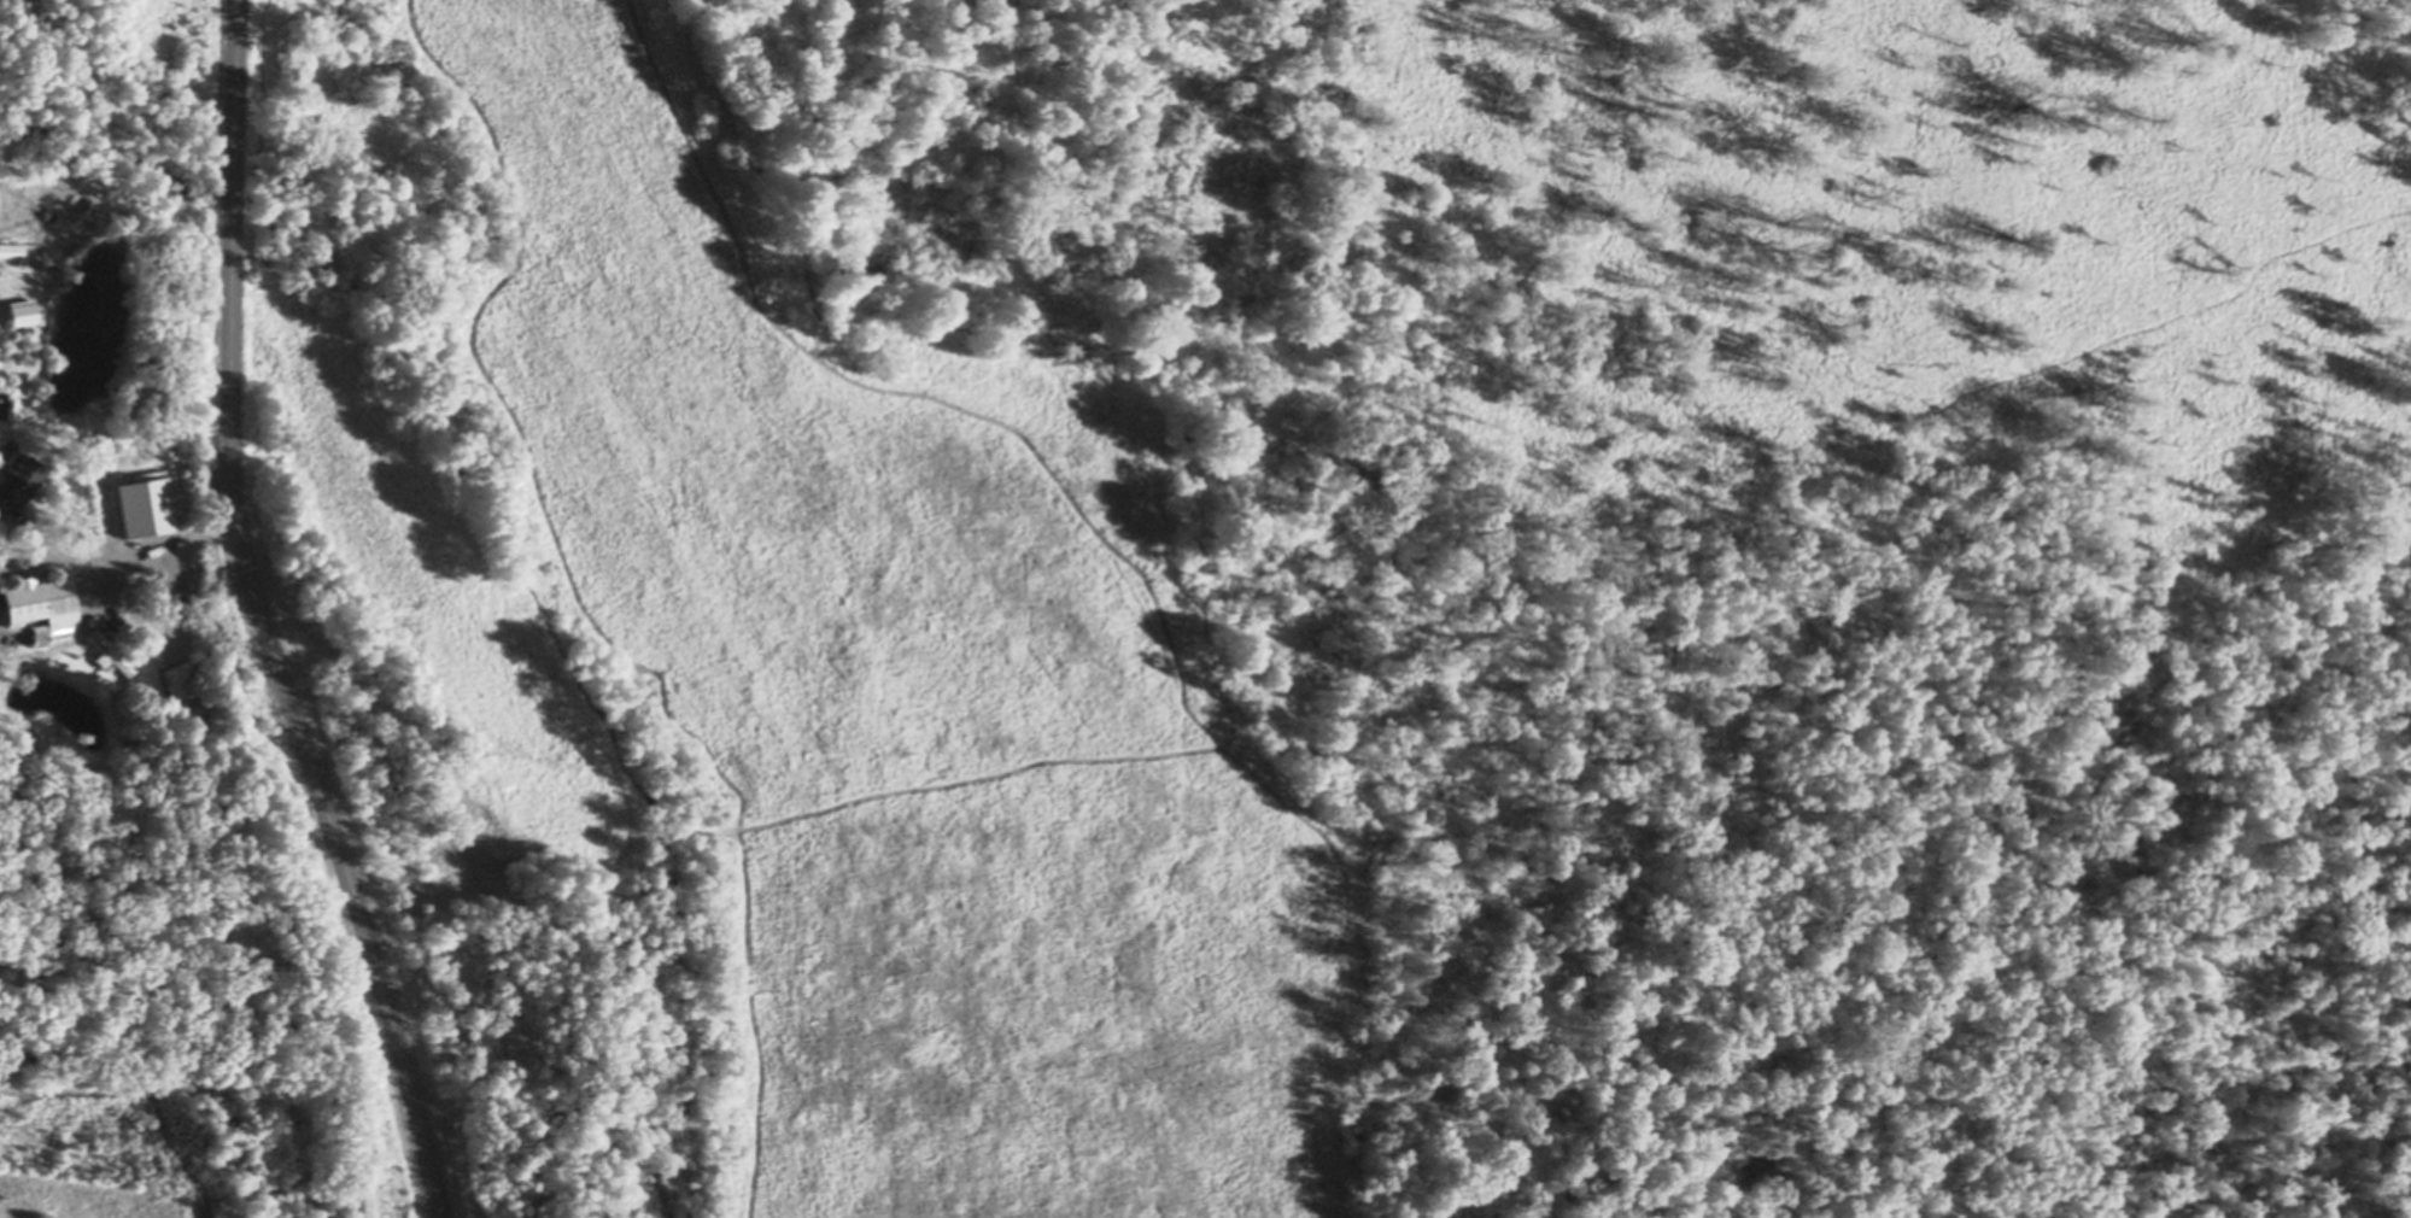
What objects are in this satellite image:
building: (12, 252)
building: (22, 314)
building: (8, 457)
building: (19, 487)
road: (129, 558)
building: (43, 607)
road: (264, 620)
building: (111, 657)
building: (185, 685)

